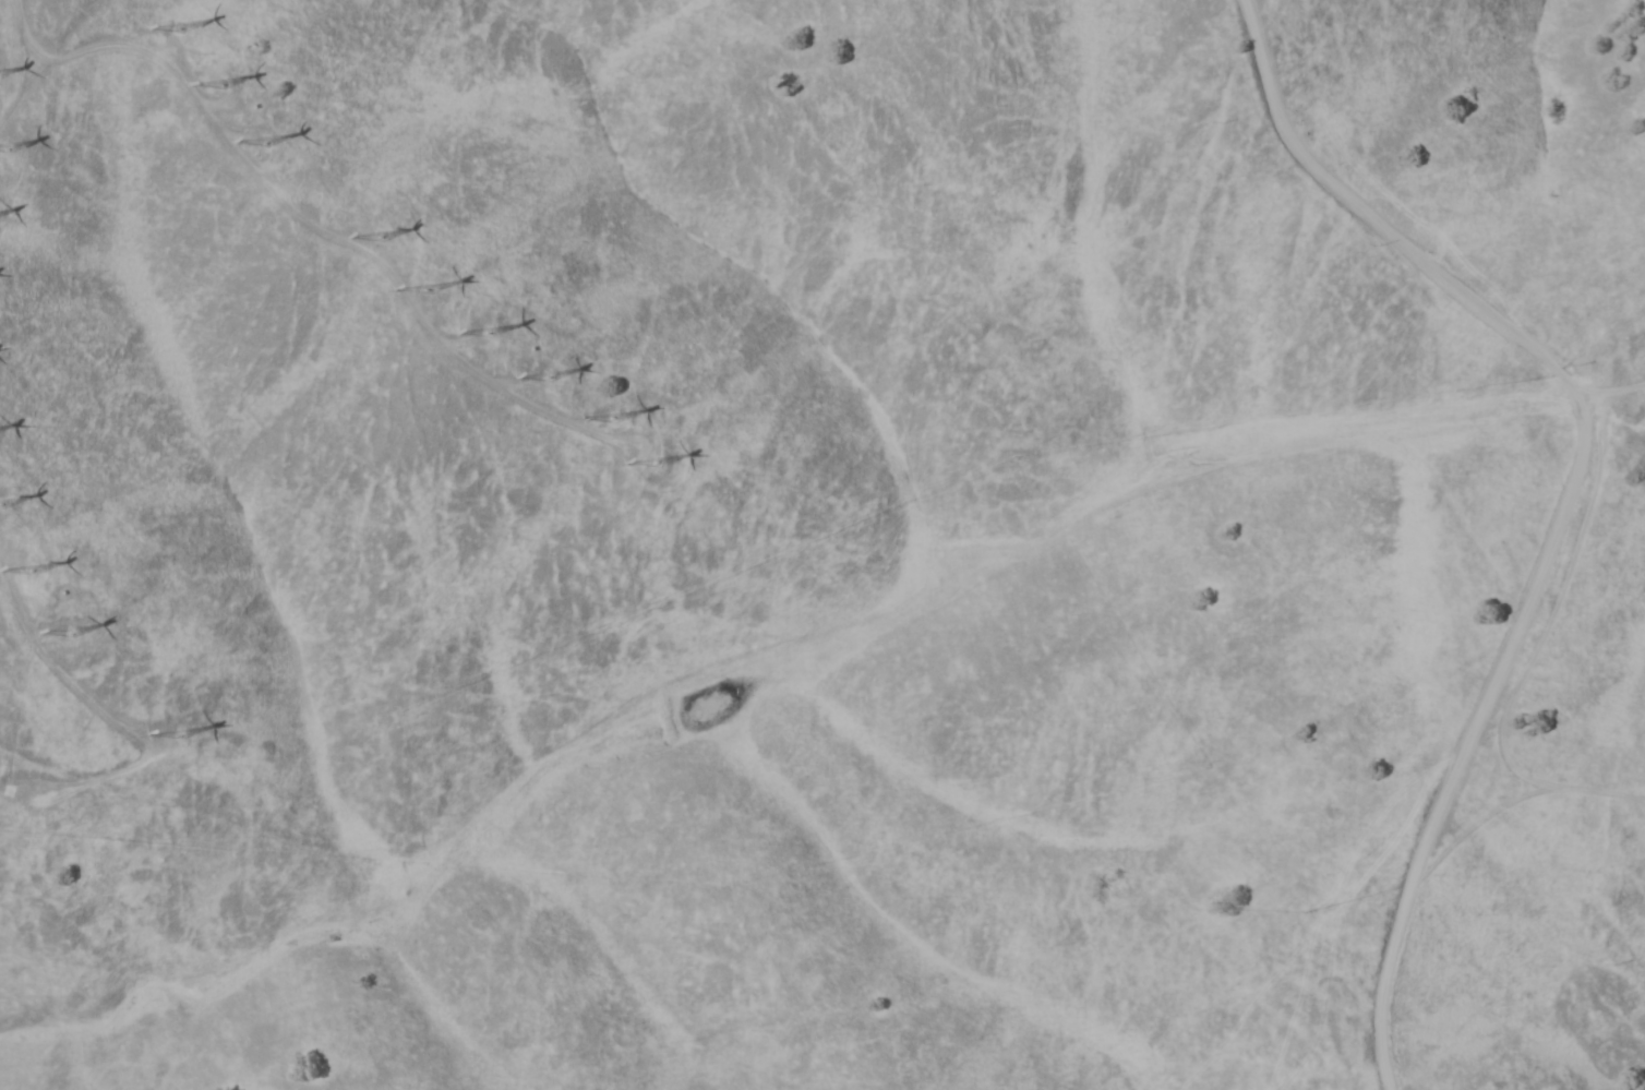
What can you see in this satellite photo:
wind turbine: (180, 35)
road: (22, 71)
road: (24, 89)
wind turbine: (232, 89)
wind turbine: (261, 140)
wind turbine: (4, 147)
wind turbine: (320, 201)
road: (293, 212)
road: (1373, 219)
wind turbine: (383, 242)
wind turbine: (431, 295)
wind turbine: (483, 325)
wind turbine: (553, 382)
road: (1609, 388)
wind turbine: (619, 419)
road: (645, 452)
wind turbine: (658, 460)
wind turbine: (1, 504)
wind turbine: (34, 567)
wind turbine: (58, 628)
road: (1536, 648)
road: (55, 672)
wind turbine: (180, 733)
road: (1467, 738)
road: (1472, 826)

